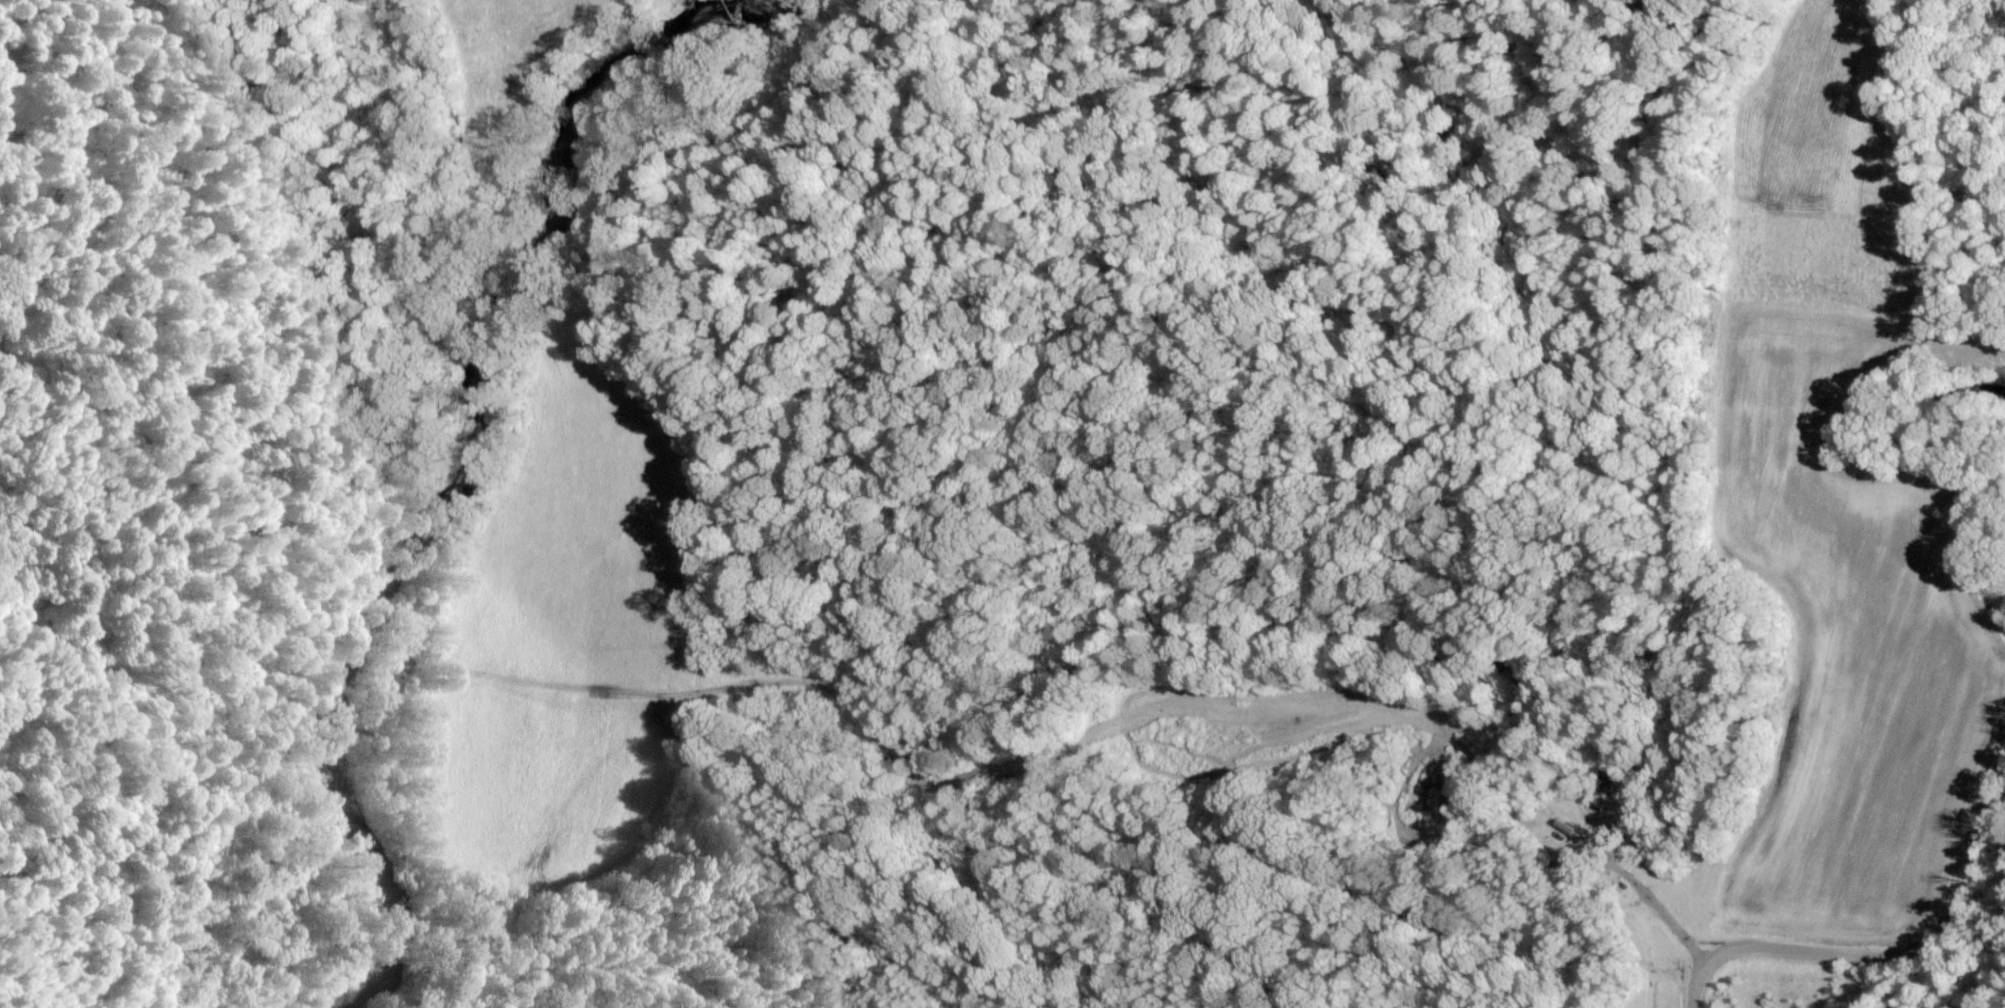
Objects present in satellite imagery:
road: (1660, 909)
road: (1896, 952)

